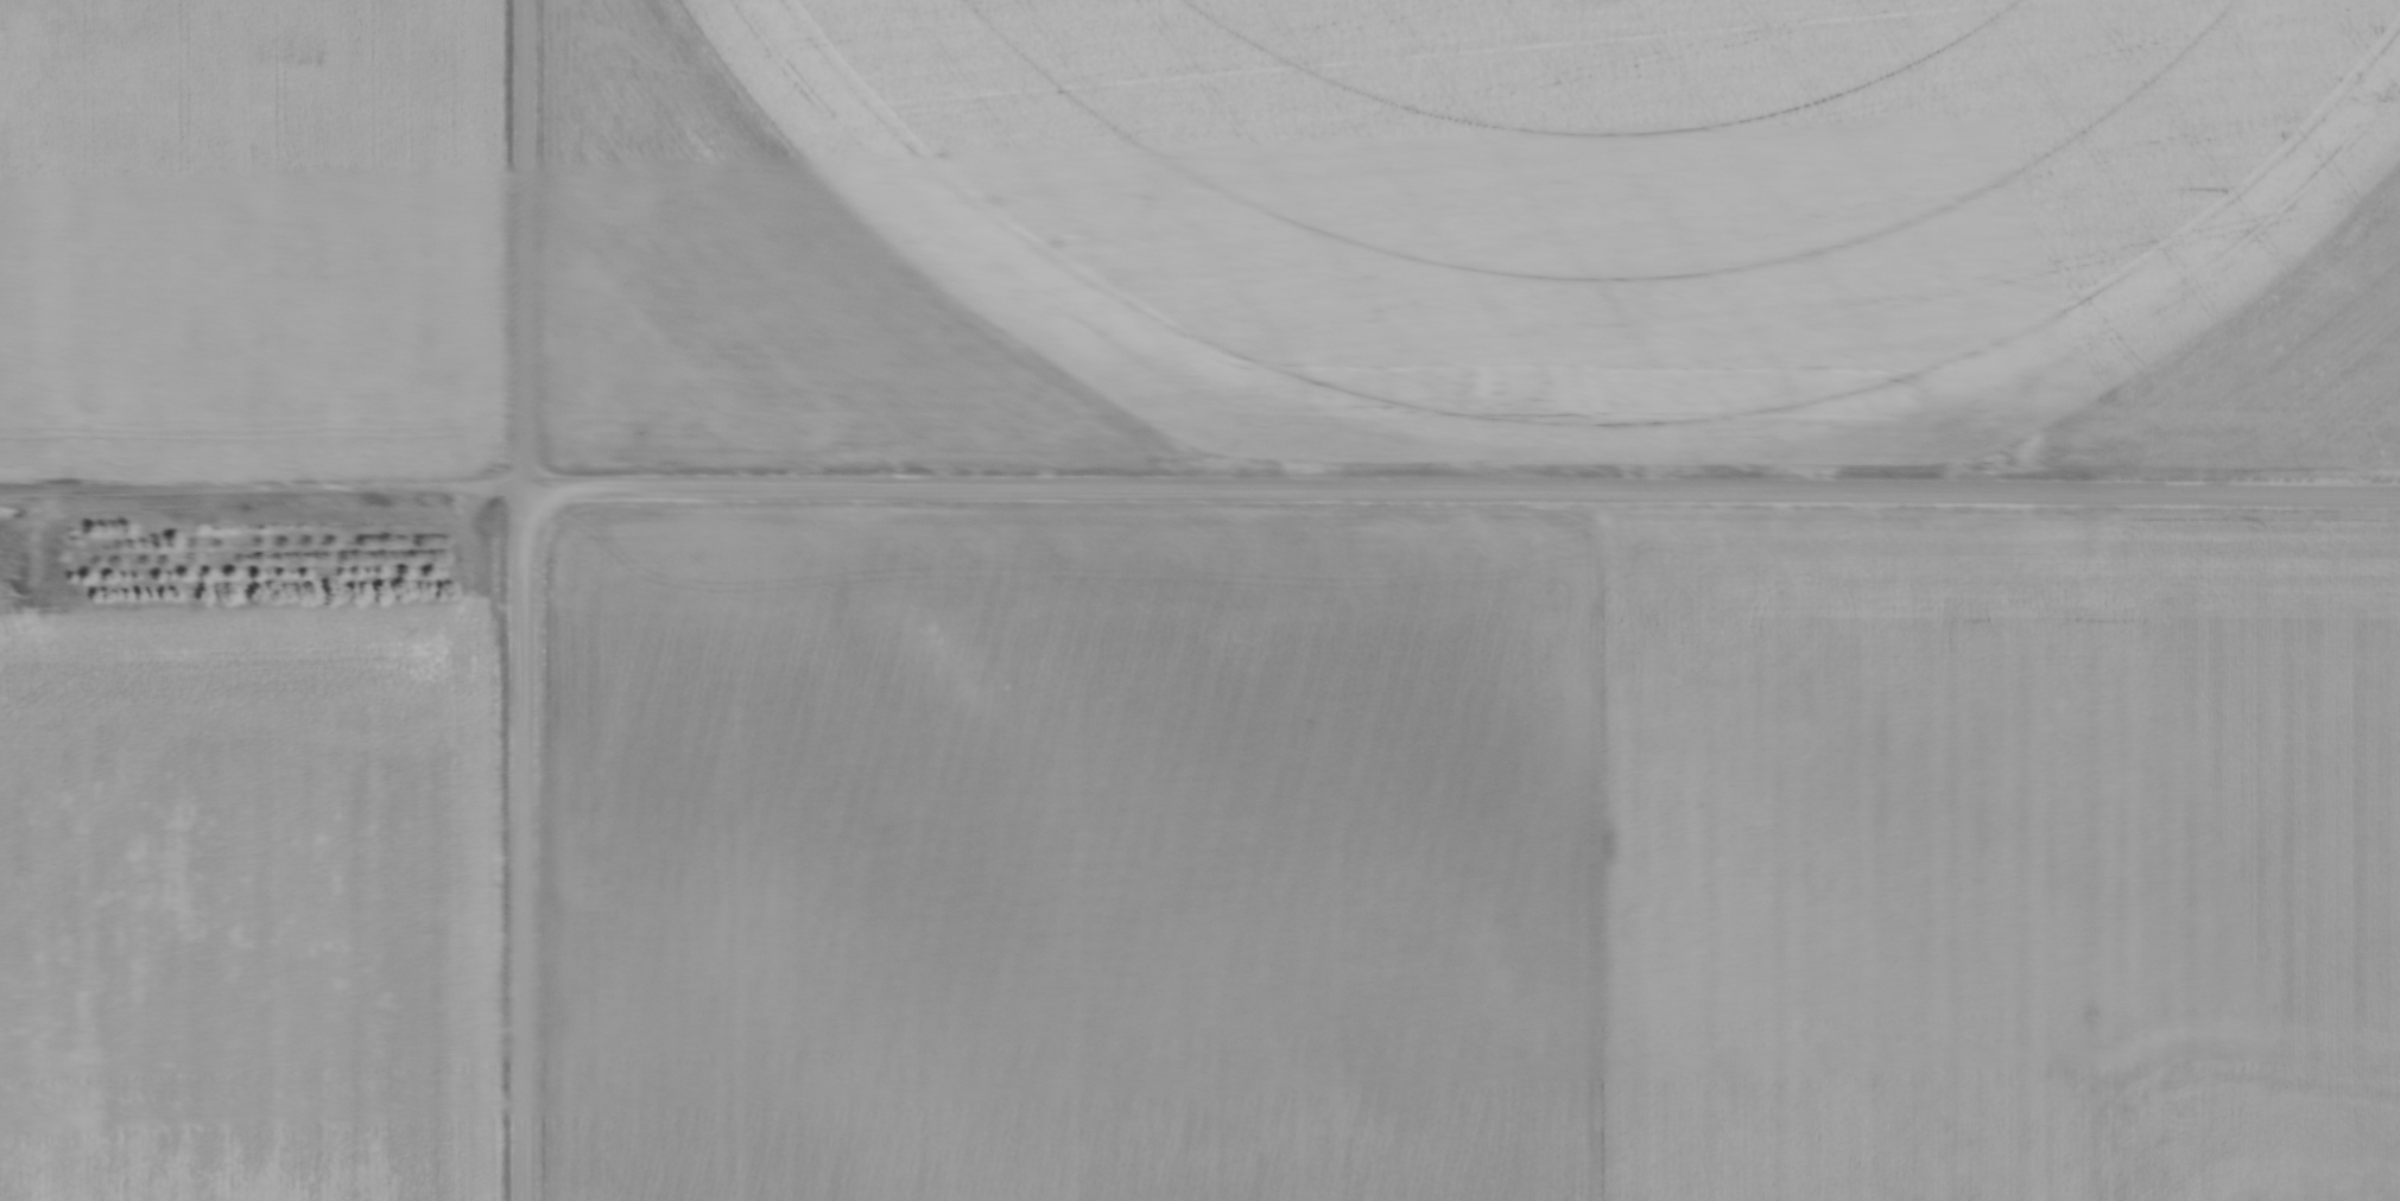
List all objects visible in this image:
road: (525, 242)
road: (1461, 491)
road: (521, 843)
crop: (249, 904)

